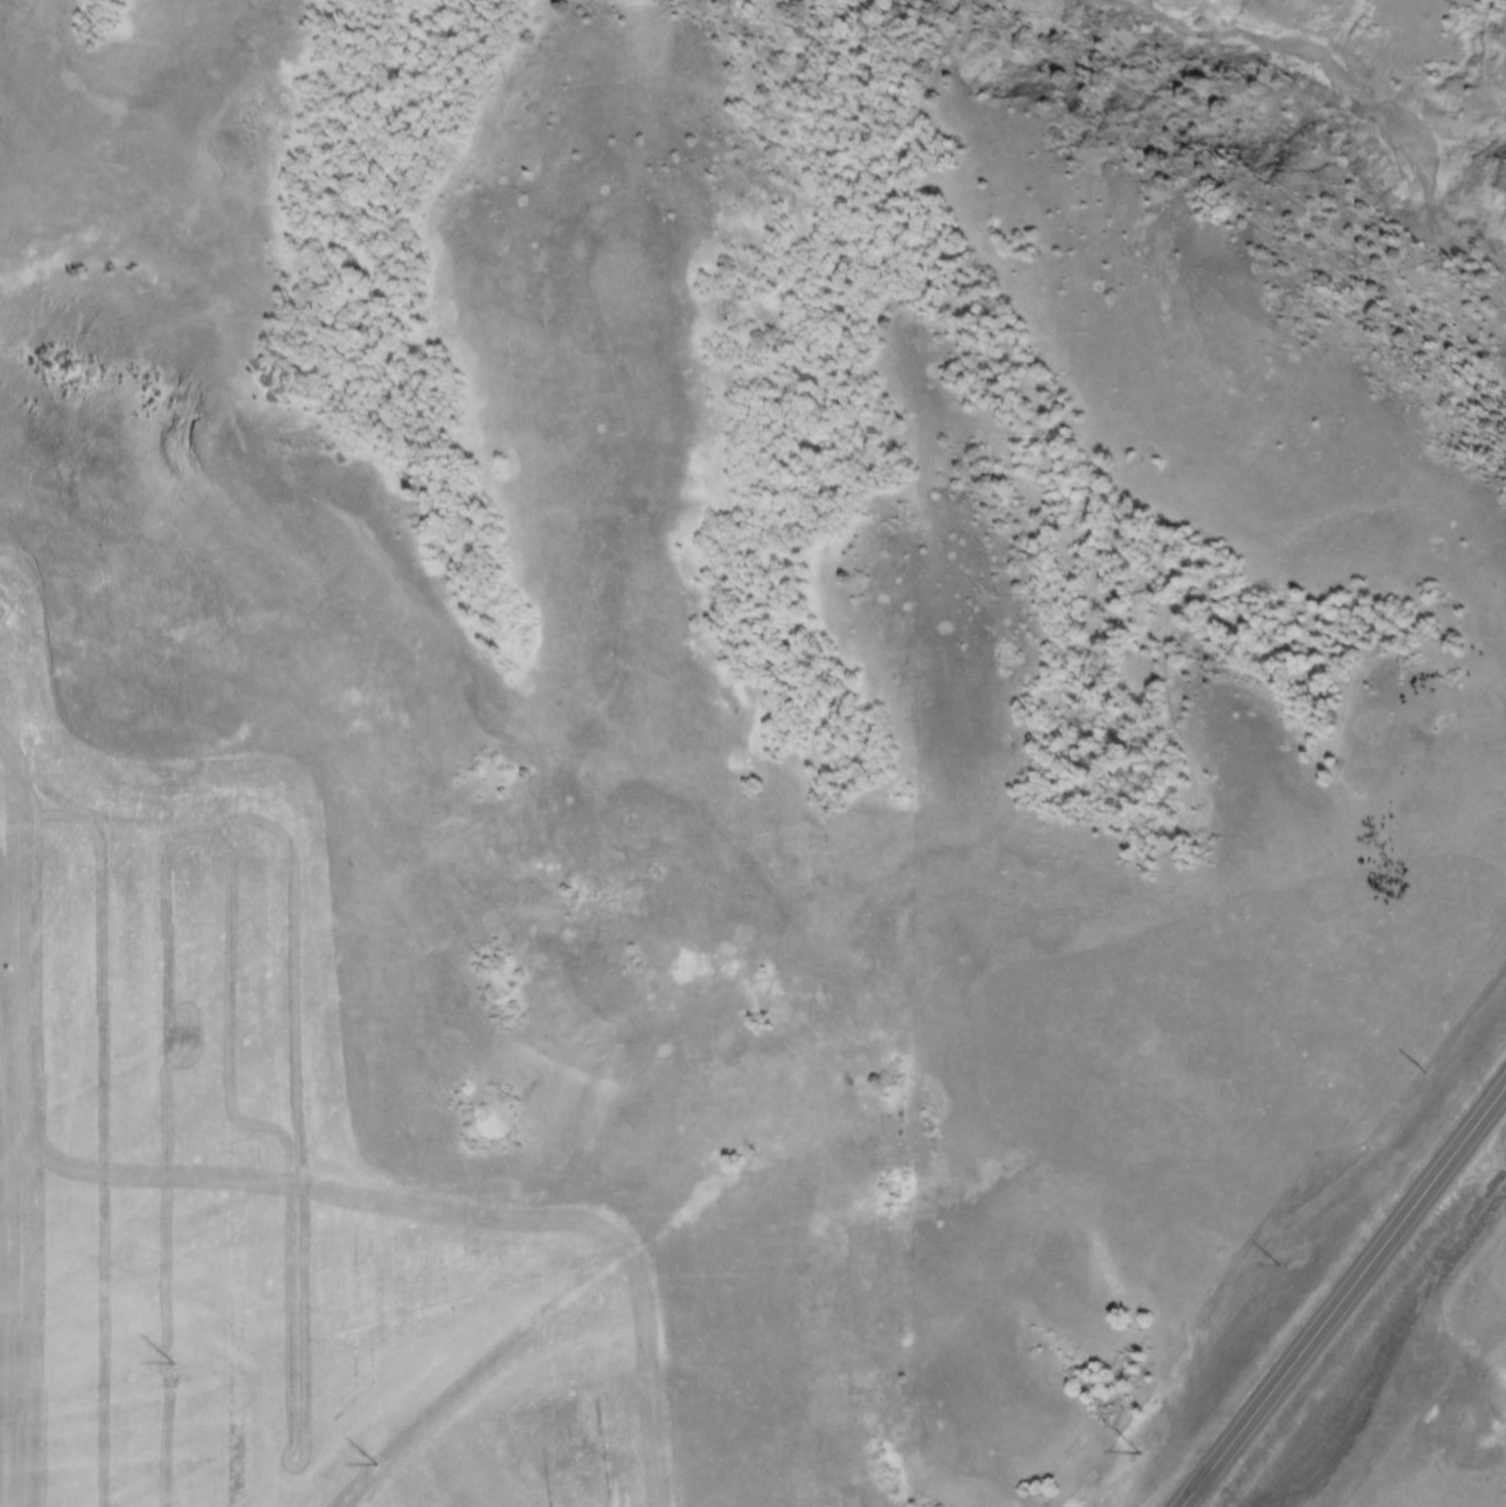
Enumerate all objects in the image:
road: (1344, 1297)

